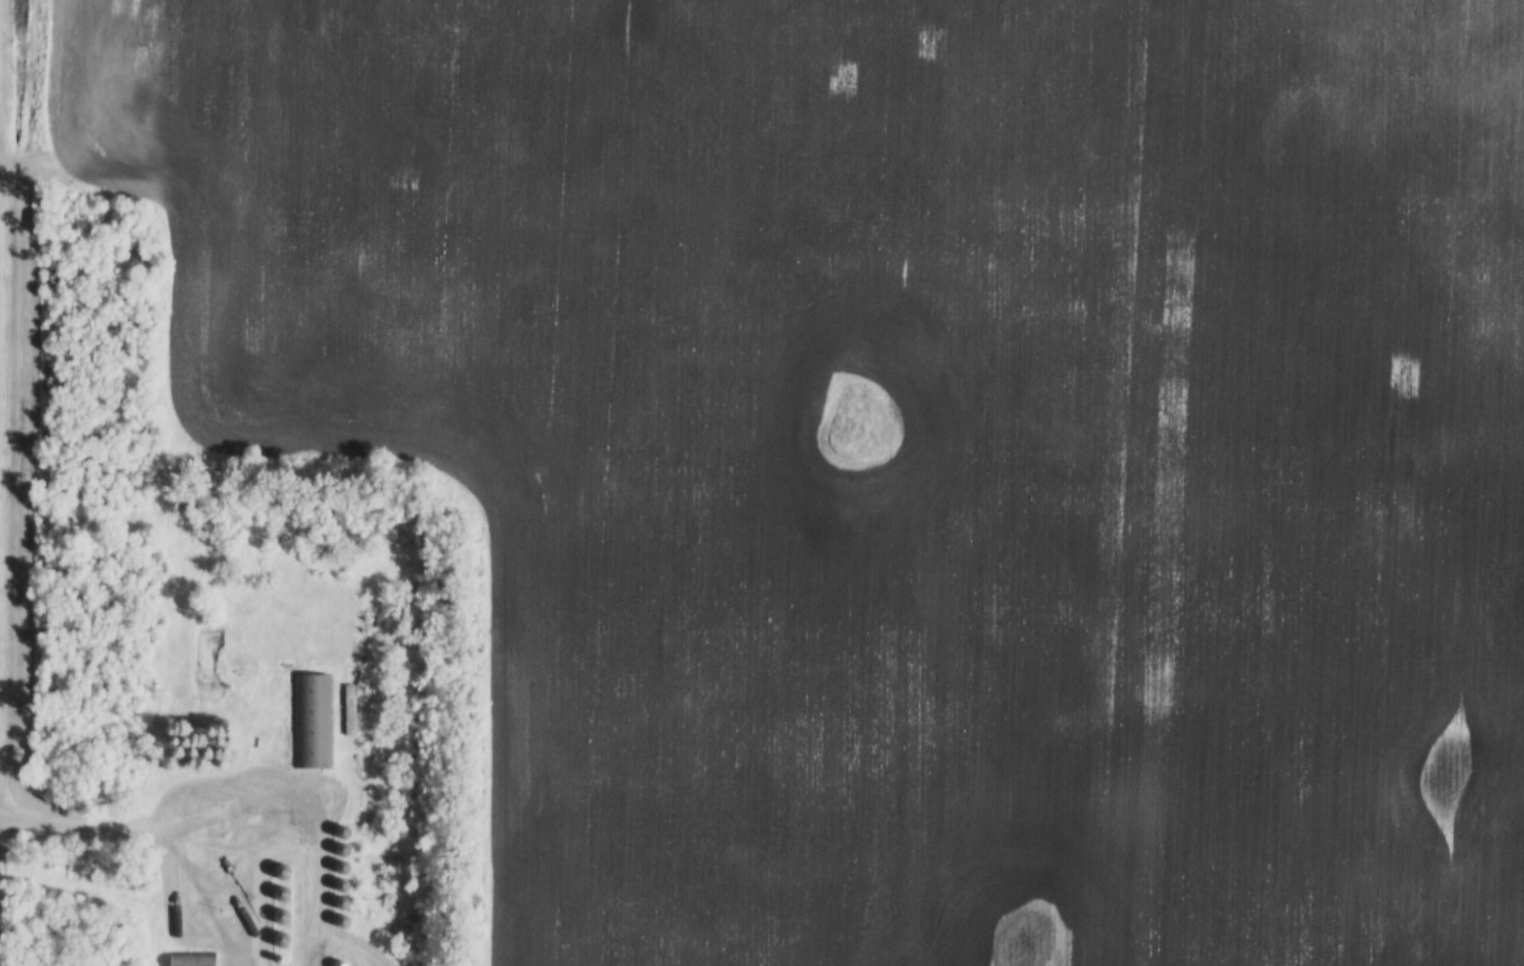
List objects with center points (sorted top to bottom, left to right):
building: (348, 711)
building: (311, 721)
road: (300, 819)
road: (76, 829)
road: (227, 887)
building: (334, 964)

